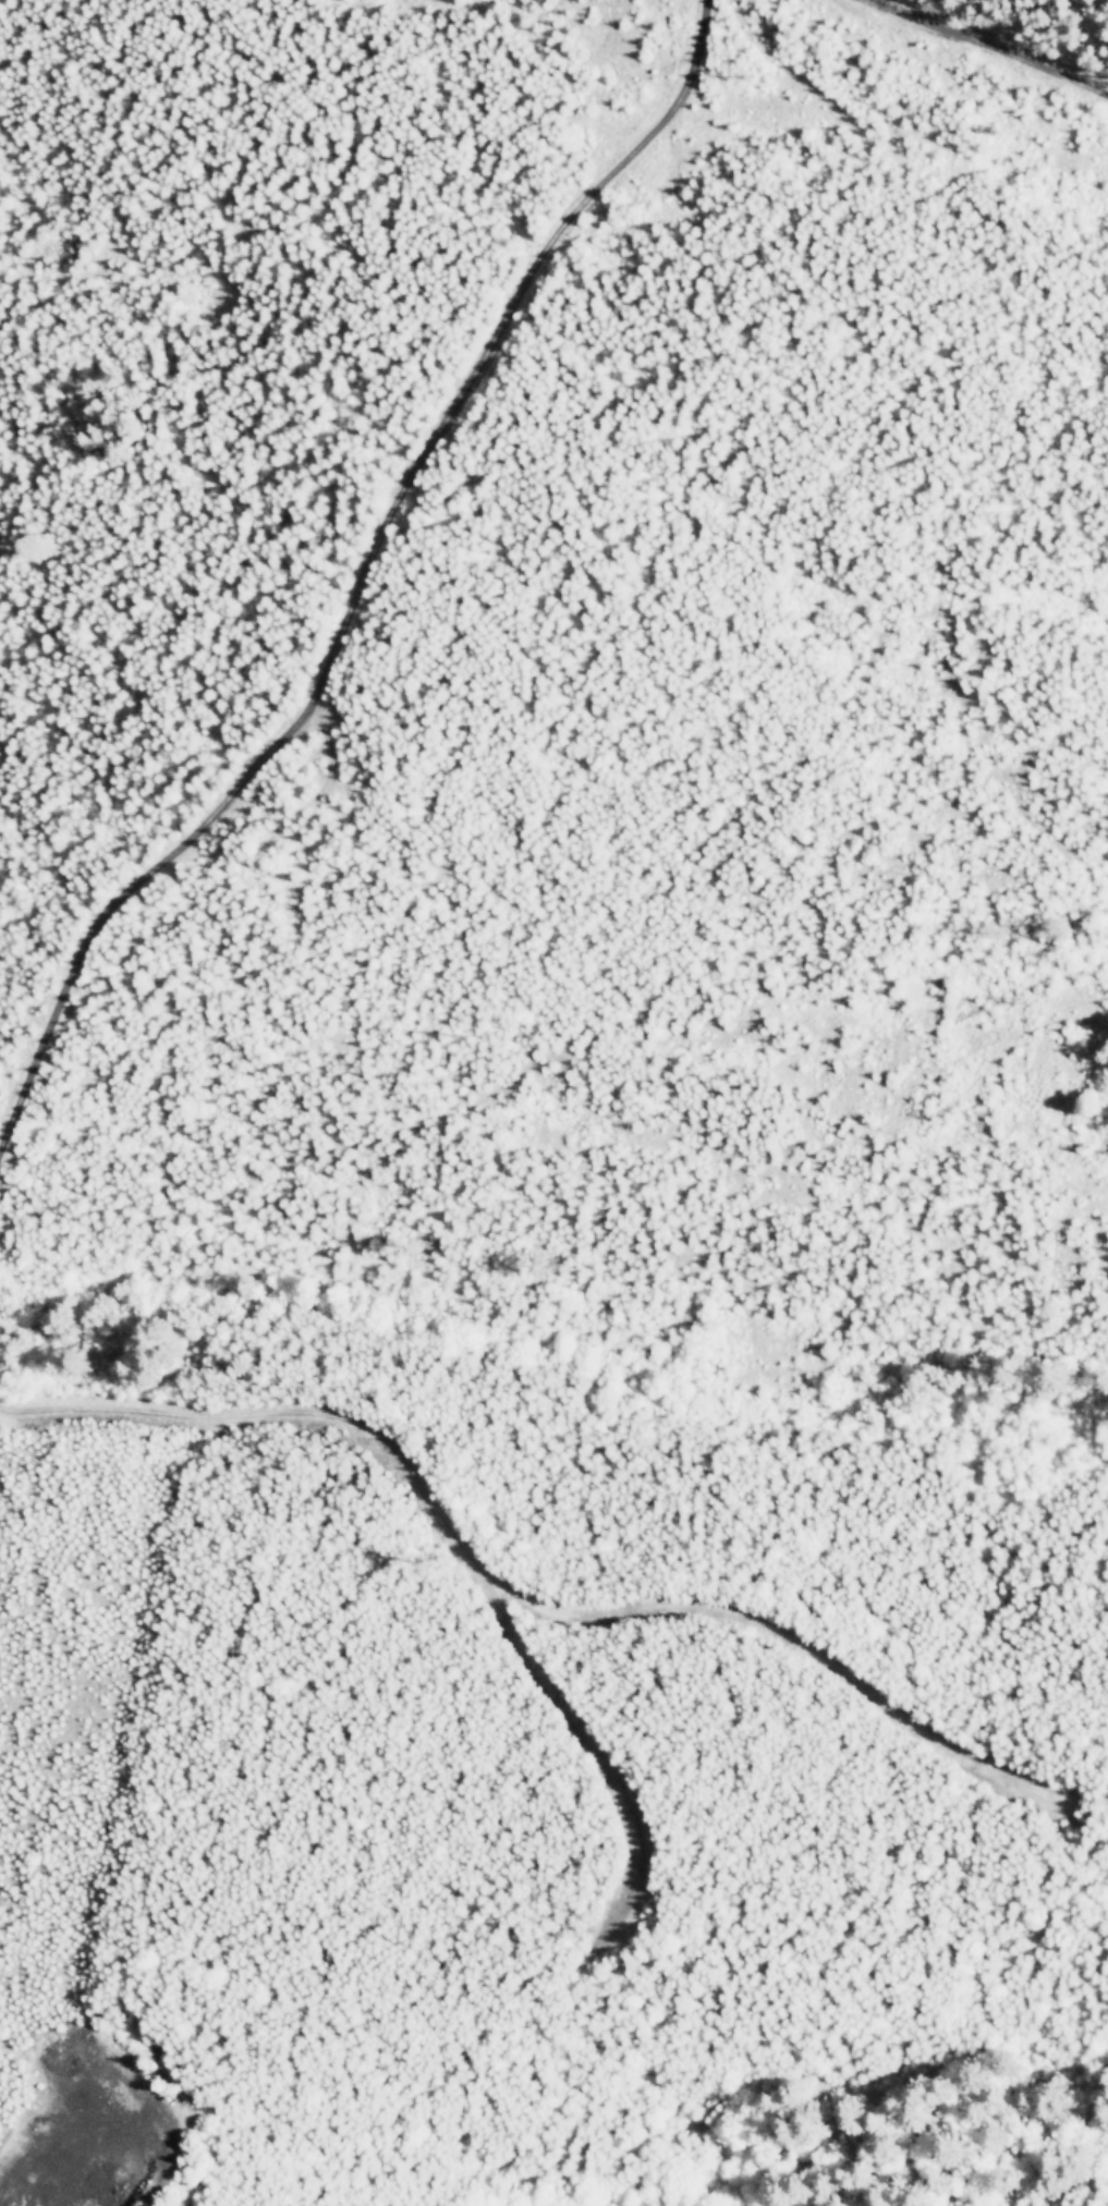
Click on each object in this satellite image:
road: (974, 42)
road: (779, 68)
road: (364, 575)
road: (589, 796)
road: (728, 828)

